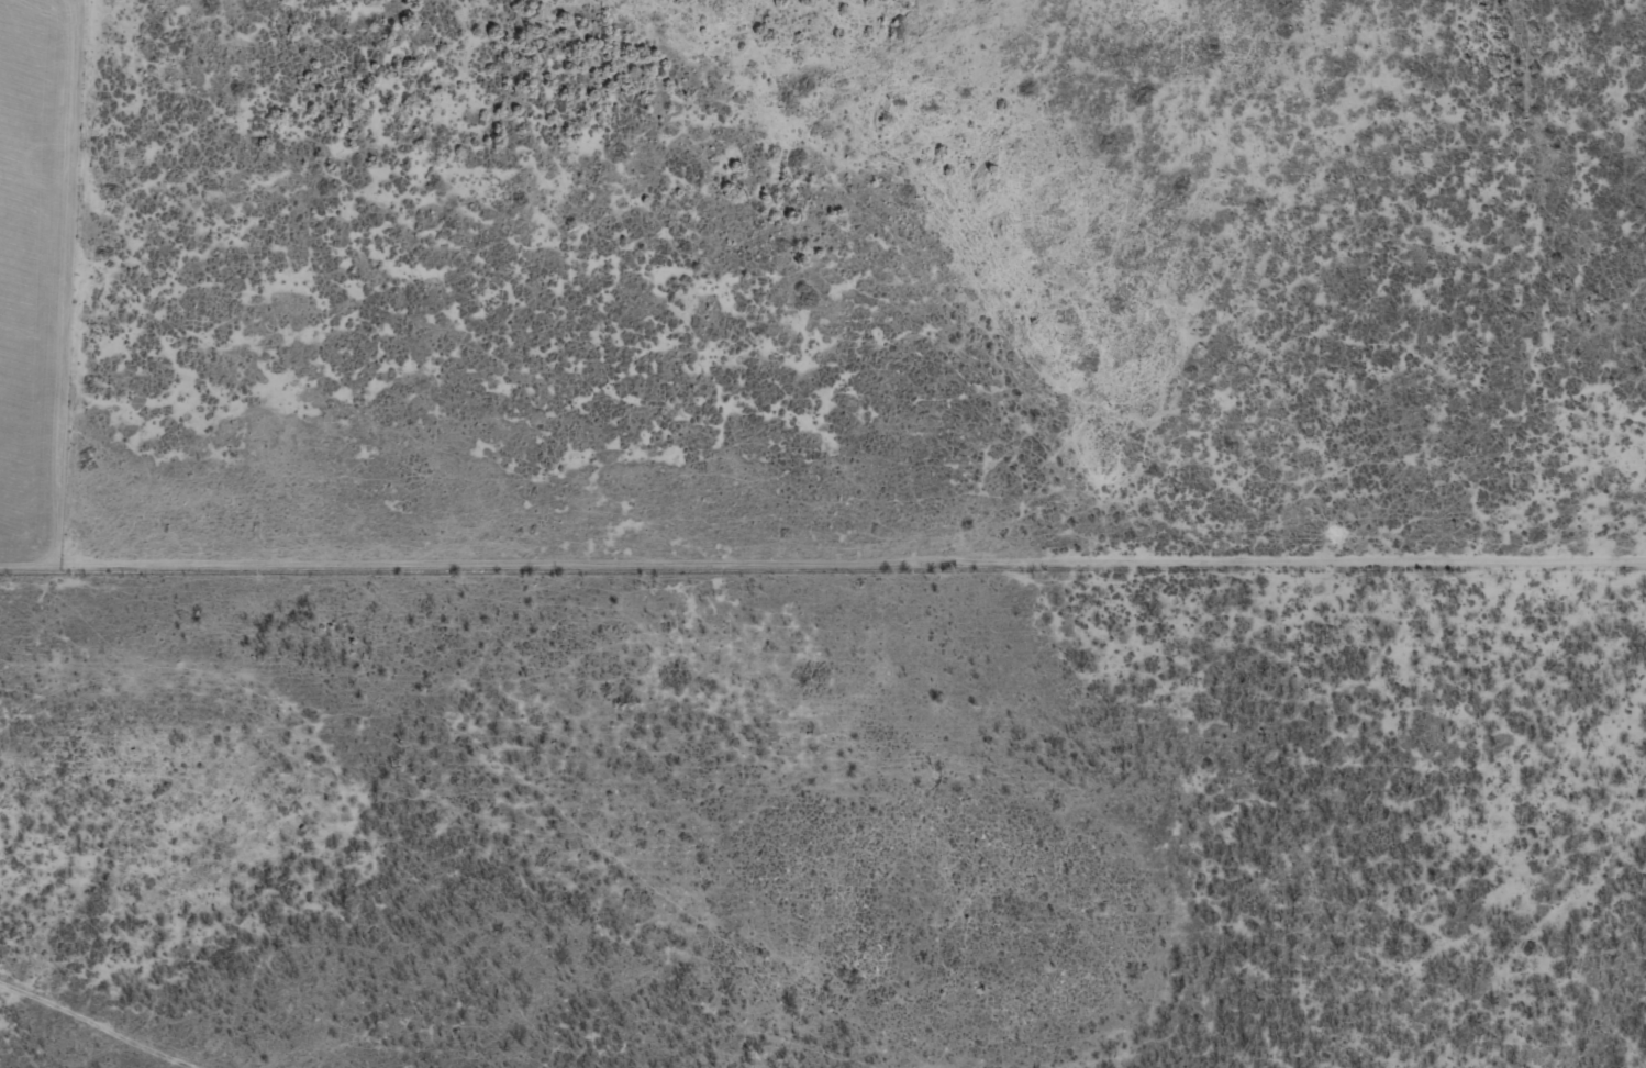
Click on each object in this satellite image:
road: (823, 542)
road: (103, 1004)

